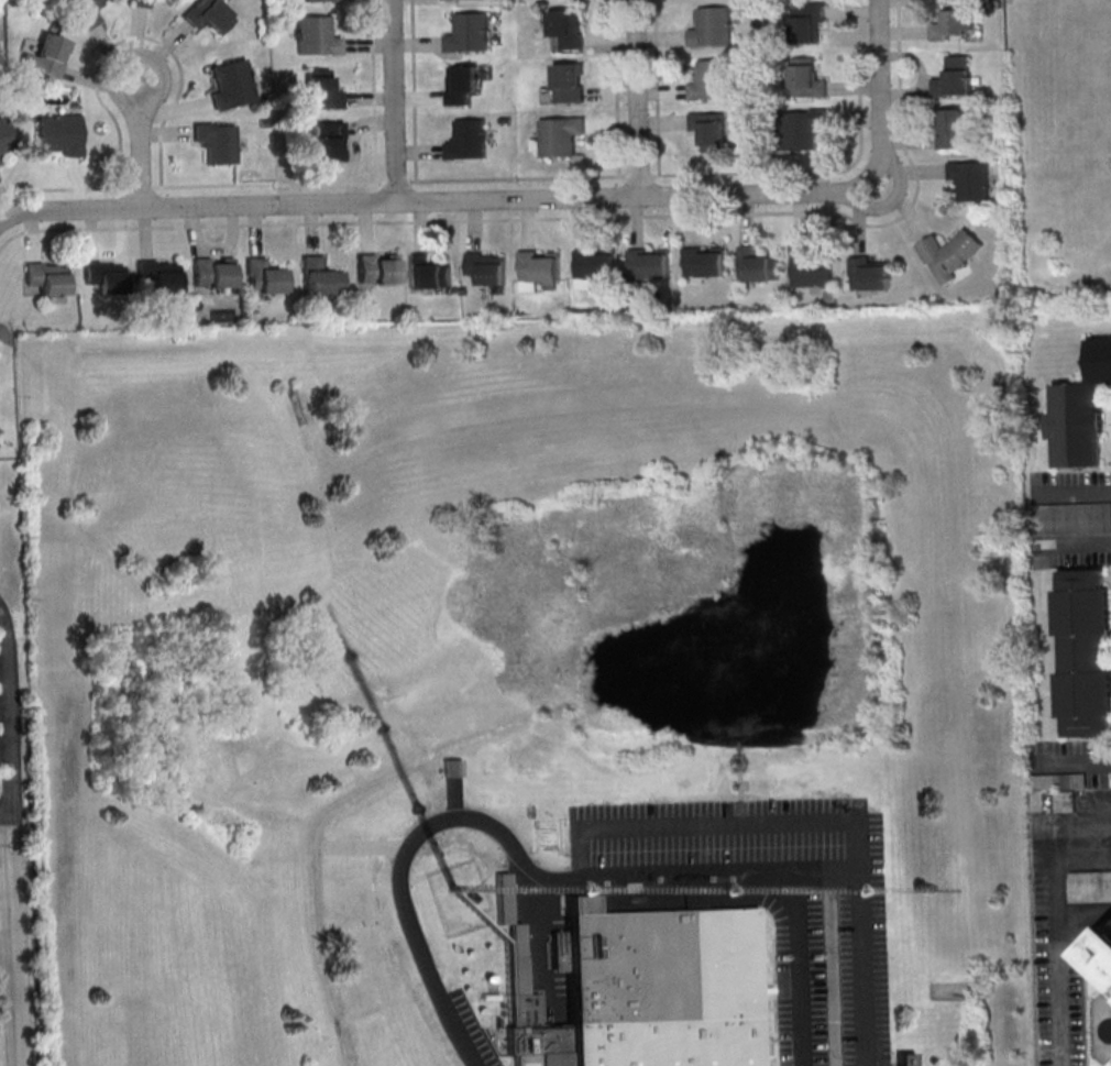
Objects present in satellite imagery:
building: (321, 0)
building: (141, 3)
building: (86, 11)
building: (209, 15)
building: (809, 22)
building: (953, 24)
building: (712, 28)
building: (566, 29)
building: (469, 32)
building: (315, 35)
building: (47, 56)
building: (955, 76)
building: (807, 78)
road: (163, 80)
building: (711, 80)
building: (461, 83)
building: (570, 83)
building: (232, 85)
road: (413, 90)
road: (879, 90)
building: (324, 92)
road: (637, 98)
road: (394, 101)
building: (803, 128)
building: (953, 128)
building: (711, 130)
building: (5, 135)
building: (58, 135)
building: (558, 136)
building: (469, 140)
building: (329, 141)
building: (216, 142)
building: (971, 179)
road: (430, 180)
road: (891, 201)
road: (435, 202)
road: (420, 221)
building: (953, 253)
building: (705, 262)
building: (595, 264)
building: (650, 264)
building: (758, 265)
building: (488, 267)
building: (540, 267)
building: (813, 267)
building: (377, 270)
building: (870, 272)
building: (213, 273)
building: (430, 273)
building: (106, 276)
building: (157, 276)
building: (265, 277)
building: (321, 277)
building: (45, 279)
road: (5, 337)
building: (1080, 413)
building: (1070, 518)
building: (1083, 652)
road: (7, 716)
road: (4, 816)
road: (839, 818)
road: (417, 836)
road: (716, 876)
building: (504, 899)
road: (1083, 911)
road: (1057, 933)
road: (13, 941)
road: (7, 946)
building: (1104, 953)
road: (801, 970)
building: (649, 983)
building: (905, 1059)

